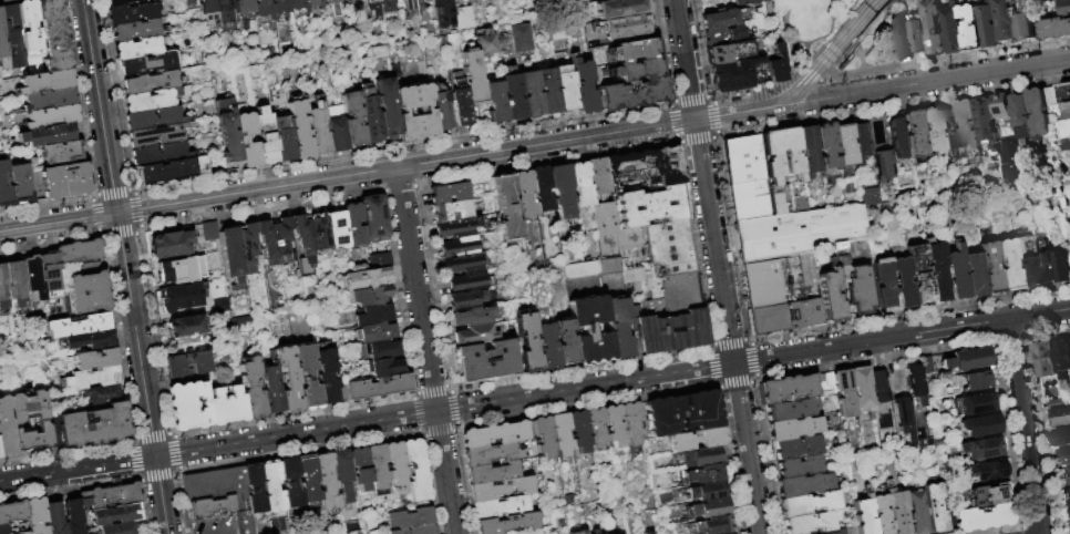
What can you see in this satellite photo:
road: (1, 0)
building: (346, 0)
building: (597, 0)
building: (1062, 0)
building: (117, 2)
building: (312, 2)
building: (748, 2)
building: (407, 4)
building: (277, 6)
building: (296, 6)
building: (241, 7)
building: (331, 7)
building: (371, 7)
building: (618, 8)
building: (1066, 8)
building: (260, 9)
building: (131, 12)
building: (441, 12)
road: (836, 12)
building: (207, 13)
building: (223, 13)
building: (722, 18)
building: (1023, 20)
building: (1006, 21)
building: (989, 24)
building: (624, 25)
park: (810, 28)
building: (27, 29)
building: (935, 29)
building: (971, 29)
building: (132, 30)
building: (953, 30)
building: (1052, 30)
building: (50, 34)
building: (726, 34)
road: (877, 34)
building: (10, 35)
building: (518, 38)
road: (792, 38)
railway: (854, 38)
building: (918, 38)
building: (899, 41)
building: (483, 42)
park: (870, 43)
railway: (821, 44)
building: (134, 48)
road: (701, 48)
building: (634, 49)
building: (375, 51)
road: (661, 51)
building: (729, 52)
building: (2, 53)
road: (814, 53)
road: (805, 57)
road: (944, 58)
road: (838, 59)
road: (685, 60)
building: (146, 63)
building: (778, 65)
building: (637, 69)
building: (758, 72)
road: (810, 75)
building: (471, 76)
building: (730, 76)
building: (42, 80)
road: (804, 81)
building: (151, 82)
road: (788, 83)
building: (579, 85)
building: (562, 86)
road: (882, 89)
road: (758, 90)
building: (545, 91)
building: (1063, 92)
building: (528, 93)
building: (628, 93)
road: (113, 94)
building: (510, 94)
building: (1049, 95)
road: (708, 96)
building: (47, 97)
road: (76, 97)
road: (689, 99)
building: (148, 100)
building: (457, 100)
road: (711, 100)
building: (492, 101)
road: (669, 103)
road: (893, 106)
building: (1000, 106)
building: (438, 107)
building: (385, 110)
building: (1068, 110)
building: (426, 112)
building: (1036, 112)
building: (50, 115)
building: (1019, 115)
road: (714, 116)
building: (151, 117)
building: (368, 117)
building: (350, 119)
road: (671, 121)
building: (966, 123)
building: (984, 124)
building: (316, 126)
building: (1067, 127)
building: (298, 129)
building: (930, 129)
building: (948, 130)
building: (226, 131)
building: (335, 131)
building: (45, 134)
road: (716, 134)
building: (154, 135)
building: (913, 135)
building: (263, 136)
building: (896, 136)
building: (281, 137)
road: (713, 137)
building: (245, 140)
road: (675, 140)
road: (695, 140)
building: (861, 142)
building: (844, 144)
road: (401, 145)
building: (1067, 145)
building: (826, 148)
building: (60, 152)
building: (792, 152)
building: (810, 152)
building: (157, 153)
building: (773, 153)
railway: (456, 154)
building: (1007, 160)
railway: (464, 161)
road: (546, 162)
building: (882, 164)
building: (641, 167)
building: (167, 170)
road: (347, 175)
building: (594, 176)
building: (747, 177)
building: (62, 179)
road: (414, 184)
building: (577, 184)
building: (20, 185)
building: (4, 186)
road: (398, 188)
building: (538, 188)
road: (131, 189)
building: (558, 191)
road: (111, 192)
building: (447, 193)
building: (521, 194)
road: (91, 195)
building: (868, 196)
building: (792, 202)
road: (45, 203)
building: (504, 205)
building: (650, 205)
road: (261, 208)
road: (136, 209)
building: (451, 212)
traffic signals: (115, 213)
road: (91, 214)
building: (372, 217)
building: (600, 219)
building: (352, 225)
road: (117, 227)
building: (335, 228)
building: (455, 228)
road: (138, 230)
building: (206, 232)
building: (318, 232)
building: (799, 232)
building: (301, 233)
road: (95, 234)
road: (117, 235)
building: (282, 238)
road: (730, 238)
building: (267, 239)
road: (47, 242)
road: (713, 242)
road: (693, 243)
building: (168, 244)
building: (457, 247)
building: (658, 247)
building: (76, 250)
building: (247, 251)
building: (232, 253)
building: (379, 260)
building: (1027, 263)
building: (463, 264)
building: (1008, 264)
building: (607, 265)
building: (1062, 265)
building: (86, 267)
building: (989, 267)
building: (1046, 267)
building: (178, 269)
building: (578, 269)
building: (936, 269)
building: (957, 271)
building: (48, 274)
building: (919, 274)
building: (975, 275)
building: (32, 277)
building: (367, 278)
building: (13, 281)
building: (781, 281)
building: (903, 281)
building: (466, 283)
building: (884, 284)
road: (432, 285)
building: (2, 288)
building: (857, 288)
building: (85, 291)
road: (398, 291)
building: (669, 292)
building: (179, 296)
building: (370, 296)
building: (832, 296)
building: (467, 299)
building: (218, 305)
building: (371, 314)
road: (909, 315)
building: (784, 316)
building: (475, 317)
building: (76, 325)
building: (184, 327)
building: (618, 328)
building: (590, 329)
building: (373, 331)
building: (668, 331)
road: (153, 332)
road: (1046, 332)
building: (479, 335)
road: (901, 336)
road: (115, 338)
road: (1010, 338)
building: (88, 339)
road: (748, 340)
building: (528, 341)
road: (728, 341)
building: (565, 342)
road: (709, 343)
building: (547, 347)
building: (378, 349)
road: (425, 350)
building: (1062, 357)
road: (752, 358)
road: (876, 358)
building: (89, 359)
building: (965, 359)
building: (1045, 359)
building: (485, 361)
building: (186, 363)
road: (710, 364)
building: (926, 364)
building: (380, 367)
road: (579, 367)
building: (325, 372)
building: (306, 376)
building: (90, 377)
building: (287, 379)
road: (753, 379)
building: (971, 381)
building: (916, 382)
road: (734, 384)
building: (824, 384)
road: (714, 386)
building: (250, 388)
building: (374, 388)
road: (449, 388)
building: (788, 388)
building: (861, 388)
building: (269, 389)
road: (430, 389)
building: (99, 393)
building: (844, 393)
road: (412, 394)
building: (878, 397)
building: (975, 403)
road: (584, 404)
building: (203, 405)
road: (452, 407)
road: (443, 409)
building: (789, 410)
building: (680, 412)
road: (413, 413)
road: (291, 414)
building: (1060, 417)
building: (904, 418)
building: (17, 421)
building: (630, 422)
building: (91, 424)
building: (614, 425)
building: (980, 425)
road: (1025, 425)
road: (455, 427)
building: (596, 428)
building: (793, 428)
building: (6, 429)
building: (578, 430)
road: (1040, 430)
road: (438, 432)
road: (171, 433)
road: (419, 433)
building: (559, 433)
road: (1007, 433)
building: (494, 434)
road: (150, 437)
building: (543, 437)
building: (1061, 438)
building: (693, 439)
road: (131, 441)
building: (795, 448)
road: (745, 449)
building: (981, 449)
road: (298, 451)
road: (64, 452)
road: (174, 452)
building: (487, 454)
building: (700, 455)
traffic signals: (154, 456)
road: (765, 458)
building: (1062, 458)
road: (131, 459)
road: (728, 461)
building: (395, 463)
building: (798, 466)
road: (76, 468)
building: (377, 468)
building: (360, 469)
building: (985, 470)
road: (176, 472)
building: (415, 473)
building: (491, 473)
building: (342, 474)
building: (698, 474)
road: (156, 477)
building: (1064, 477)
road: (136, 479)
building: (307, 481)
building: (289, 482)
road: (462, 482)
building: (326, 484)
road: (429, 484)
building: (803, 484)
building: (206, 485)
building: (271, 486)
building: (254, 487)
road: (66, 489)
building: (500, 489)
building: (704, 491)
building: (111, 495)
road: (160, 495)
building: (985, 495)
building: (1066, 497)
building: (239, 501)
road: (179, 504)
building: (807, 504)
road: (143, 507)
building: (209, 507)
building: (500, 507)
building: (707, 507)
building: (934, 507)
building: (881, 510)
building: (898, 510)
building: (12, 512)
building: (916, 512)
building: (115, 514)
building: (863, 514)
building: (35, 516)
building: (1067, 516)
building: (53, 517)
building: (74, 517)
building: (982, 517)
building: (409, 518)
building: (807, 523)
parking lot: (214, 524)
building: (507, 524)
building: (708, 525)
road: (1056, 526)
building: (115, 528)
building: (4, 530)
building: (414, 530)
building: (850, 530)
road: (992, 530)
building: (1068, 531)
building: (579, 532)
building: (836, 532)
building: (619, 533)
building: (648, 533)
building: (722, 533)

